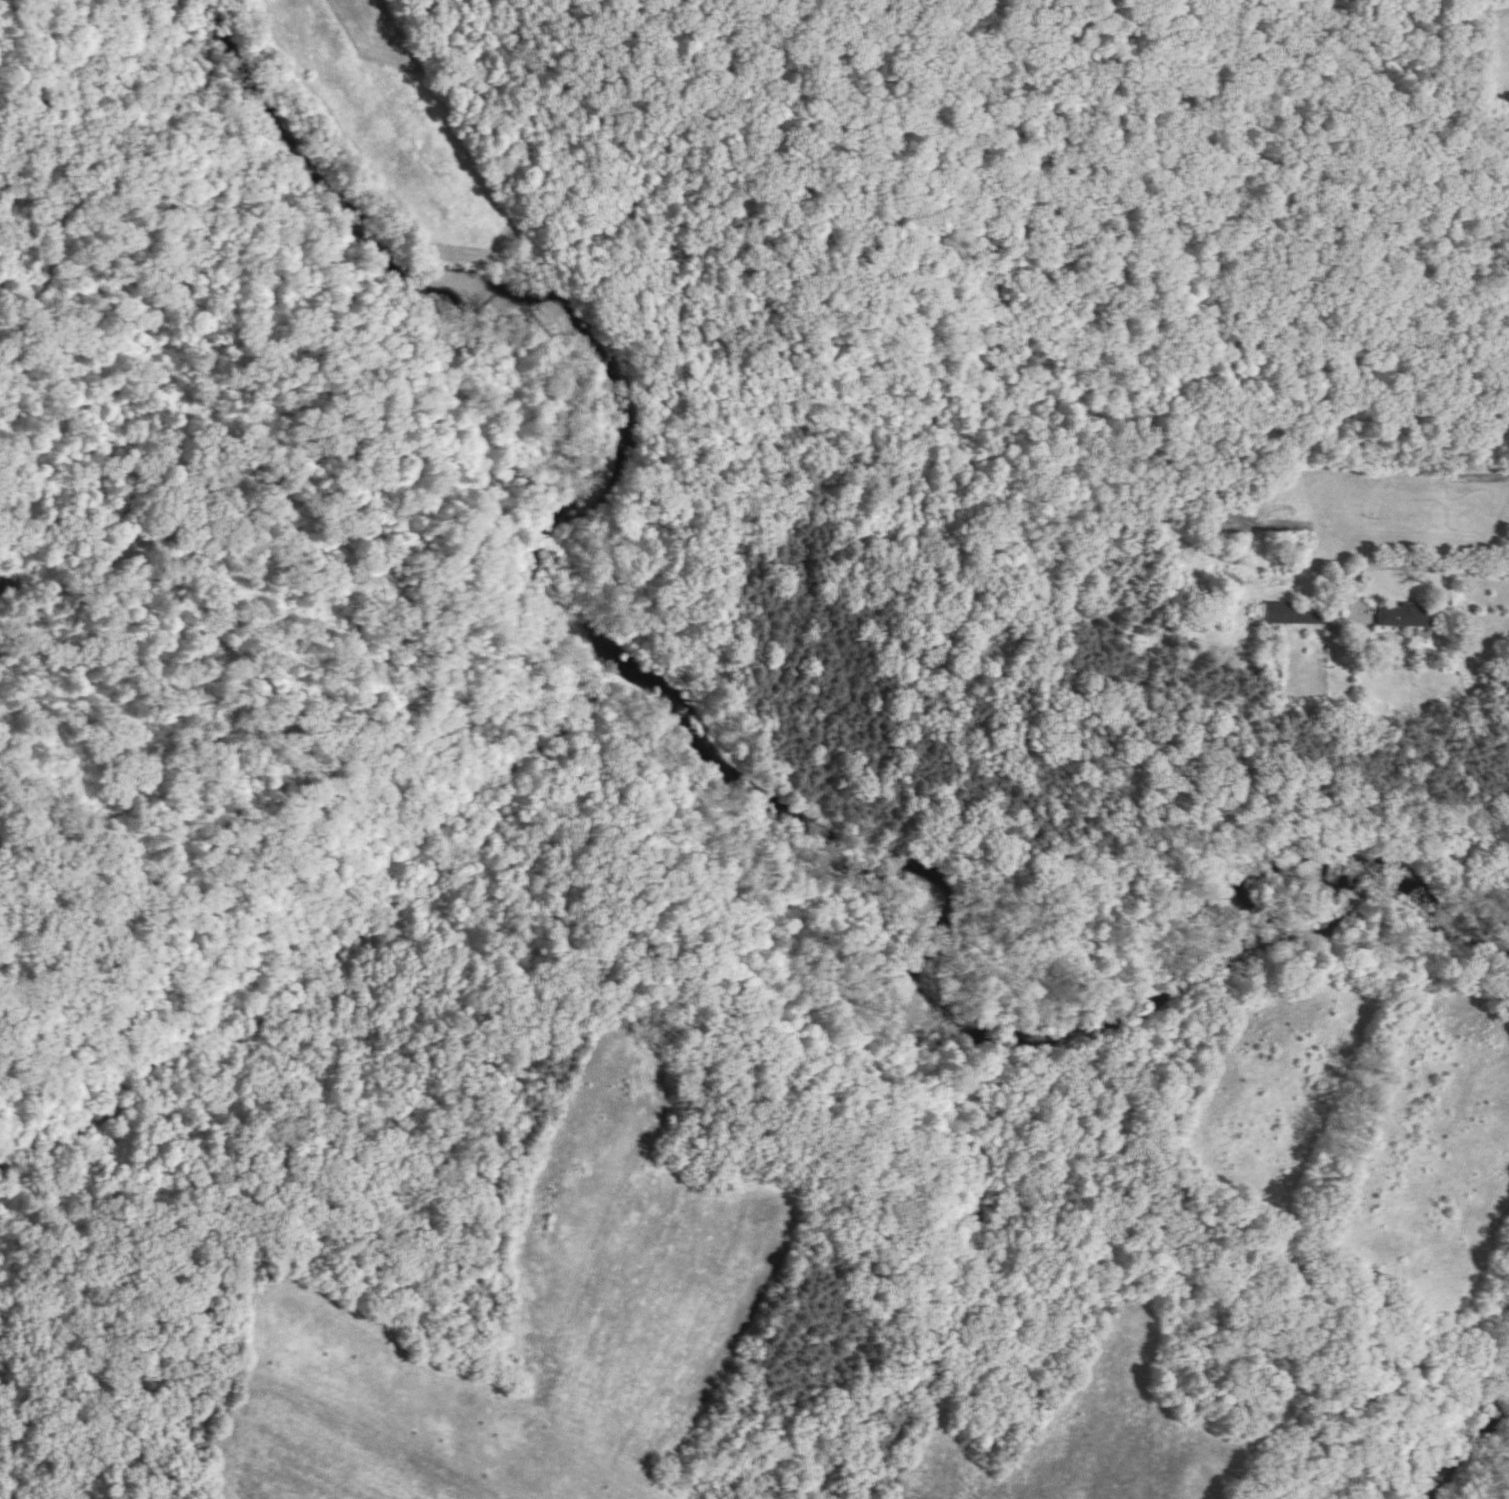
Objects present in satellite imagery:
road: (1389, 568)
building: (1282, 614)
building: (1408, 617)
river: (706, 762)
river: (1478, 1453)

